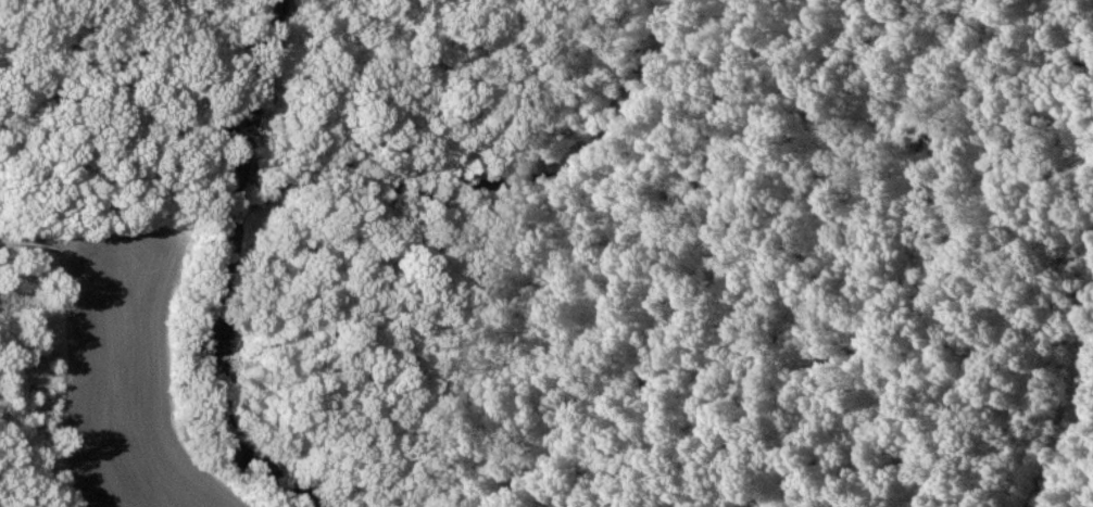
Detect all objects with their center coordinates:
river: (213, 272)

